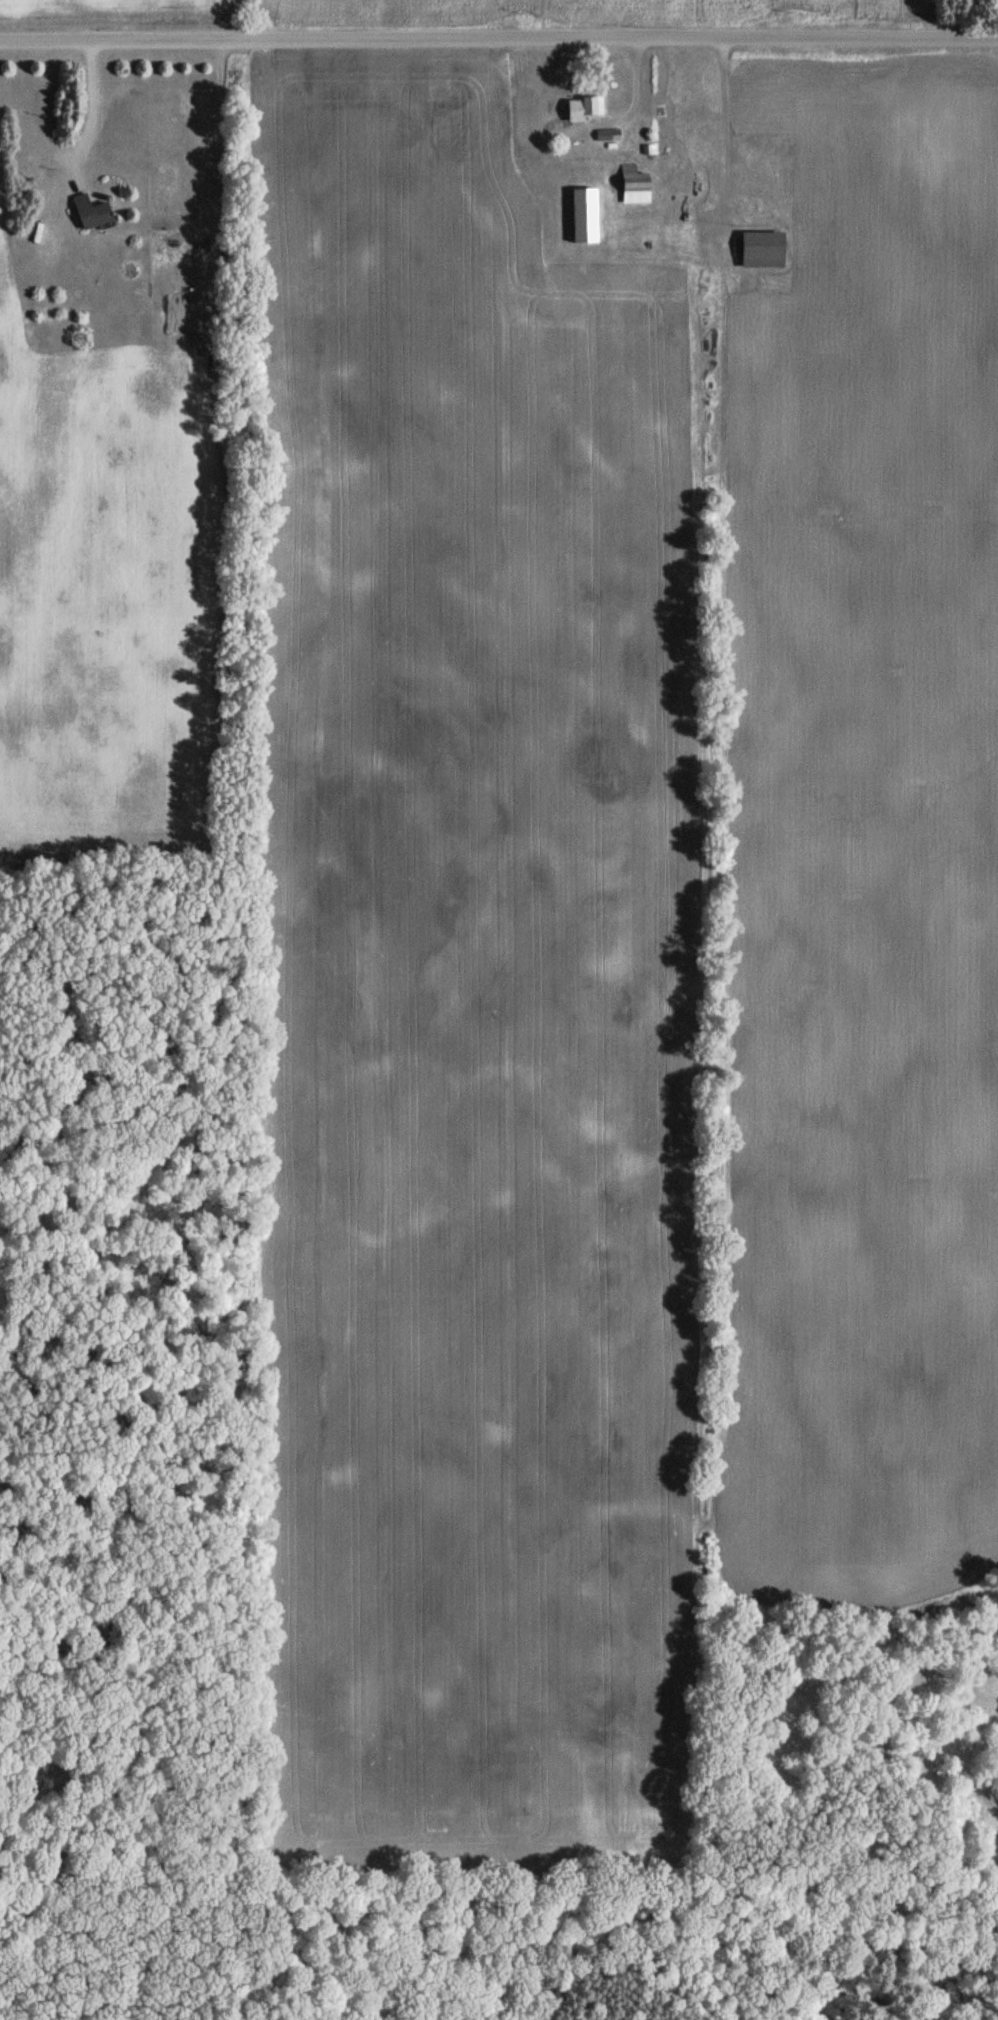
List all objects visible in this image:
road: (498, 39)
building: (584, 109)
road: (82, 115)
building: (607, 135)
building: (633, 185)
building: (93, 212)
building: (584, 216)
building: (761, 251)
building: (711, 441)

